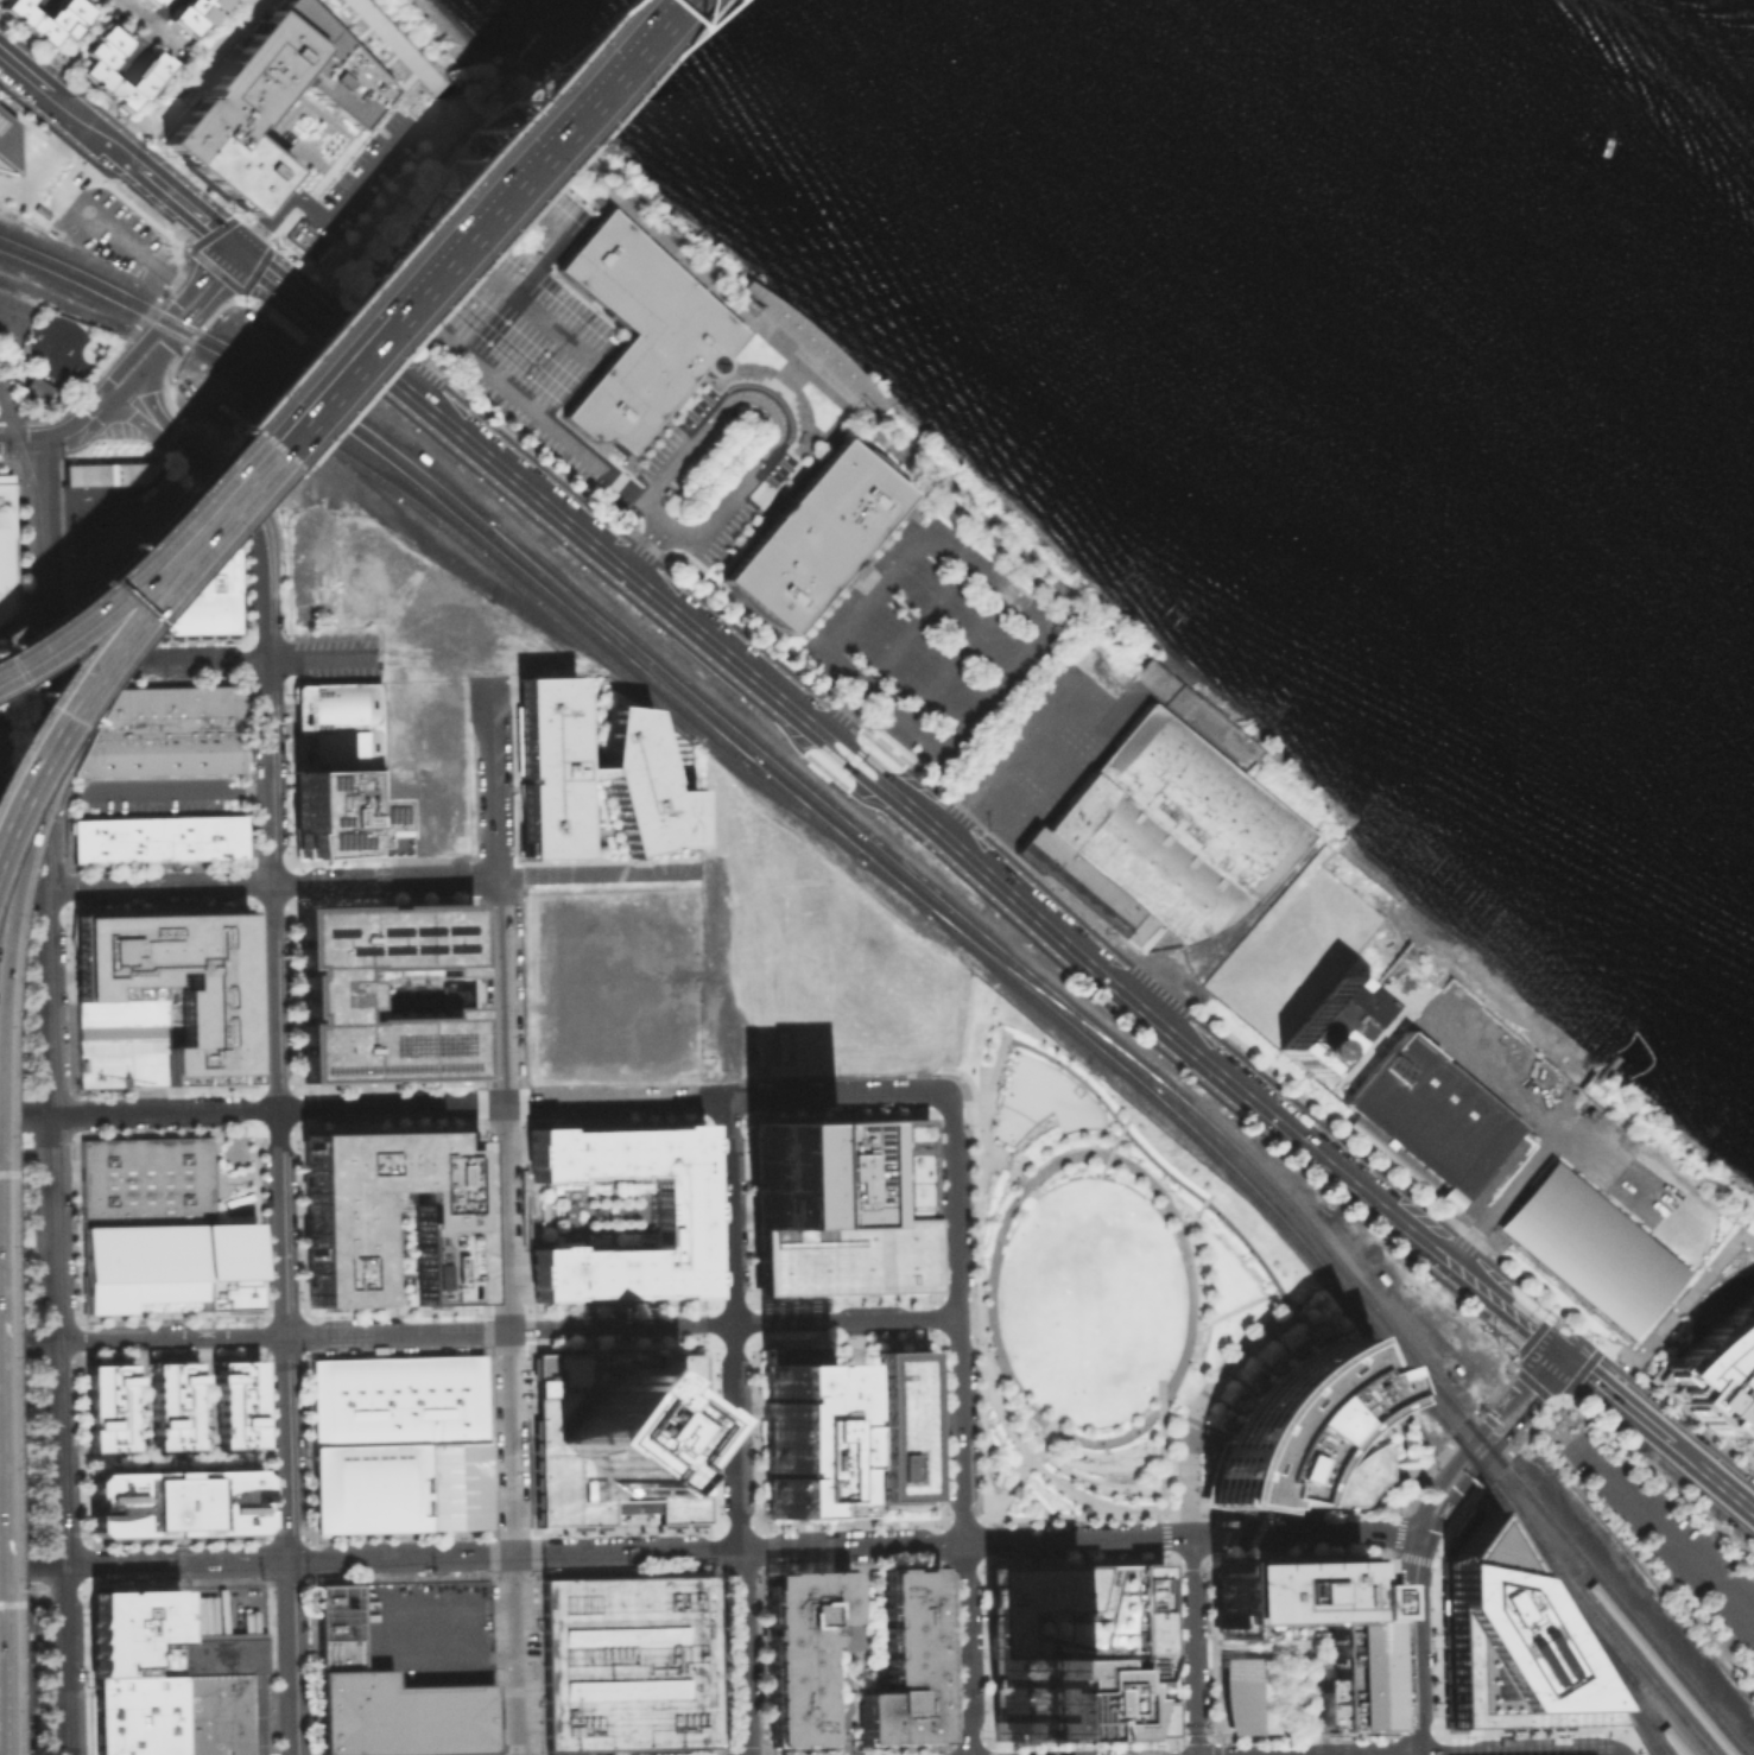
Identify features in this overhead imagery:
building: (151, 1)
building: (191, 12)
building: (46, 17)
road: (150, 23)
building: (153, 63)
road: (191, 78)
building: (274, 100)
road: (84, 120)
building: (2, 141)
road: (574, 180)
road: (205, 217)
road: (325, 217)
traffic signals: (241, 247)
river: (1513, 254)
railway: (23, 260)
road: (403, 262)
road: (406, 265)
road: (450, 268)
railway: (94, 278)
road: (217, 289)
road: (165, 317)
road: (12, 322)
road: (568, 325)
parking lot: (12, 329)
building: (637, 330)
road: (344, 334)
park: (52, 359)
road: (148, 366)
road: (794, 375)
road: (778, 384)
road: (819, 386)
road: (761, 404)
road: (152, 408)
road: (12, 413)
railway: (342, 413)
road: (135, 419)
road: (77, 430)
road: (18, 441)
building: (108, 475)
railway: (419, 487)
road: (660, 526)
road: (259, 530)
building: (811, 534)
building: (5, 544)
road: (641, 545)
road: (40, 552)
building: (220, 572)
road: (843, 581)
road: (90, 597)
road: (93, 604)
building: (203, 612)
road: (109, 614)
railway: (620, 644)
railway: (594, 647)
road: (324, 659)
road: (154, 663)
road: (21, 666)
road: (72, 678)
building: (171, 709)
road: (1050, 710)
road: (1109, 714)
building: (340, 724)
road: (21, 745)
building: (159, 752)
road: (851, 756)
building: (584, 773)
road: (44, 775)
road: (498, 778)
parking lot: (6, 781)
road: (156, 791)
railway: (821, 802)
parking lot: (160, 805)
building: (342, 811)
building: (1172, 828)
road: (1003, 829)
building: (157, 837)
railway: (842, 837)
road: (988, 848)
road: (599, 874)
road: (386, 880)
road: (1005, 883)
road: (158, 885)
road: (21, 887)
building: (1083, 888)
parking lot: (7, 934)
building: (172, 983)
road: (502, 990)
building: (330, 993)
railway: (1043, 994)
building: (6, 1020)
parking lot: (8, 1021)
building: (1322, 1024)
building: (119, 1043)
water tower: (1304, 1047)
road: (836, 1094)
road: (616, 1101)
road: (278, 1104)
road: (967, 1109)
road: (25, 1114)
building: (1429, 1115)
road: (1117, 1133)
road: (990, 1157)
railway: (1218, 1158)
road: (1104, 1160)
road: (1663, 1161)
road: (1012, 1167)
building: (144, 1179)
parking lot: (12, 1187)
road: (1511, 1187)
road: (1018, 1191)
road: (1196, 1193)
road: (1201, 1202)
road: (280, 1208)
building: (836, 1208)
building: (679, 1212)
building: (569, 1214)
building: (596, 1214)
road: (507, 1216)
road: (1186, 1221)
road: (53, 1225)
road: (1747, 1241)
railway: (1325, 1248)
building: (1592, 1252)
building: (341, 1253)
building: (165, 1266)
parking lot: (12, 1273)
park: (1090, 1279)
road: (1233, 1307)
road: (1677, 1311)
road: (982, 1316)
road: (844, 1320)
road: (621, 1326)
road: (933, 1329)
road: (397, 1331)
road: (759, 1333)
road: (170, 1336)
road: (27, 1338)
road: (956, 1339)
road: (846, 1341)
road: (746, 1343)
road: (980, 1350)
road: (1630, 1350)
traffic signals: (1559, 1351)
road: (988, 1355)
road: (1596, 1360)
building: (1718, 1371)
road: (1614, 1396)
building: (395, 1399)
building: (235, 1404)
building: (172, 1405)
building: (106, 1406)
road: (958, 1424)
building: (899, 1425)
road: (734, 1426)
building: (796, 1430)
road: (856, 1431)
road: (935, 1431)
road: (1478, 1433)
road: (760, 1434)
building: (1300, 1436)
building: (621, 1437)
road: (512, 1440)
road: (1495, 1443)
road: (1164, 1446)
parking lot: (14, 1452)
railway: (1502, 1462)
road: (1037, 1466)
railway: (1478, 1466)
road: (1648, 1466)
road: (1015, 1470)
road: (1013, 1476)
road: (1712, 1476)
road: (870, 1477)
road: (1094, 1482)
building: (454, 1483)
building: (368, 1487)
building: (173, 1502)
road: (899, 1502)
road: (1705, 1515)
road: (1077, 1516)
railway: (1514, 1520)
road: (965, 1521)
road: (853, 1525)
road: (1167, 1526)
road: (749, 1527)
road: (1661, 1531)
parking lot: (1666, 1534)
road: (969, 1541)
road: (989, 1541)
road: (943, 1542)
road: (1299, 1546)
road: (762, 1547)
road: (401, 1556)
road: (175, 1563)
road: (967, 1563)
road: (30, 1566)
road: (853, 1566)
road: (751, 1569)
railway: (1591, 1580)
road: (1300, 1588)
road: (1433, 1596)
railway: (1602, 1620)
railway: (1636, 1622)
building: (133, 1630)
railway: (1592, 1641)
road: (1414, 1642)
building: (1507, 1643)
road: (1195, 1646)
road: (848, 1648)
building: (1078, 1649)
building: (221, 1652)
building: (799, 1652)
road: (1260, 1652)
road: (515, 1653)
road: (945, 1654)
railway: (1616, 1655)
building: (1356, 1656)
road: (765, 1659)
road: (63, 1660)
building: (627, 1662)
building: (907, 1664)
road: (1297, 1667)
railway: (15, 1671)
railway: (30, 1677)
building: (385, 1696)
building: (1247, 1696)
building: (214, 1713)
building: (134, 1715)
railway: (1665, 1724)
road: (843, 1742)
railway: (1657, 1742)
railway: (1658, 1742)
road: (1298, 1743)
road: (970, 1744)
road: (857, 1748)
road: (754, 1750)
road: (825, 1751)
road: (767, 1753)
road: (1513, 1754)

